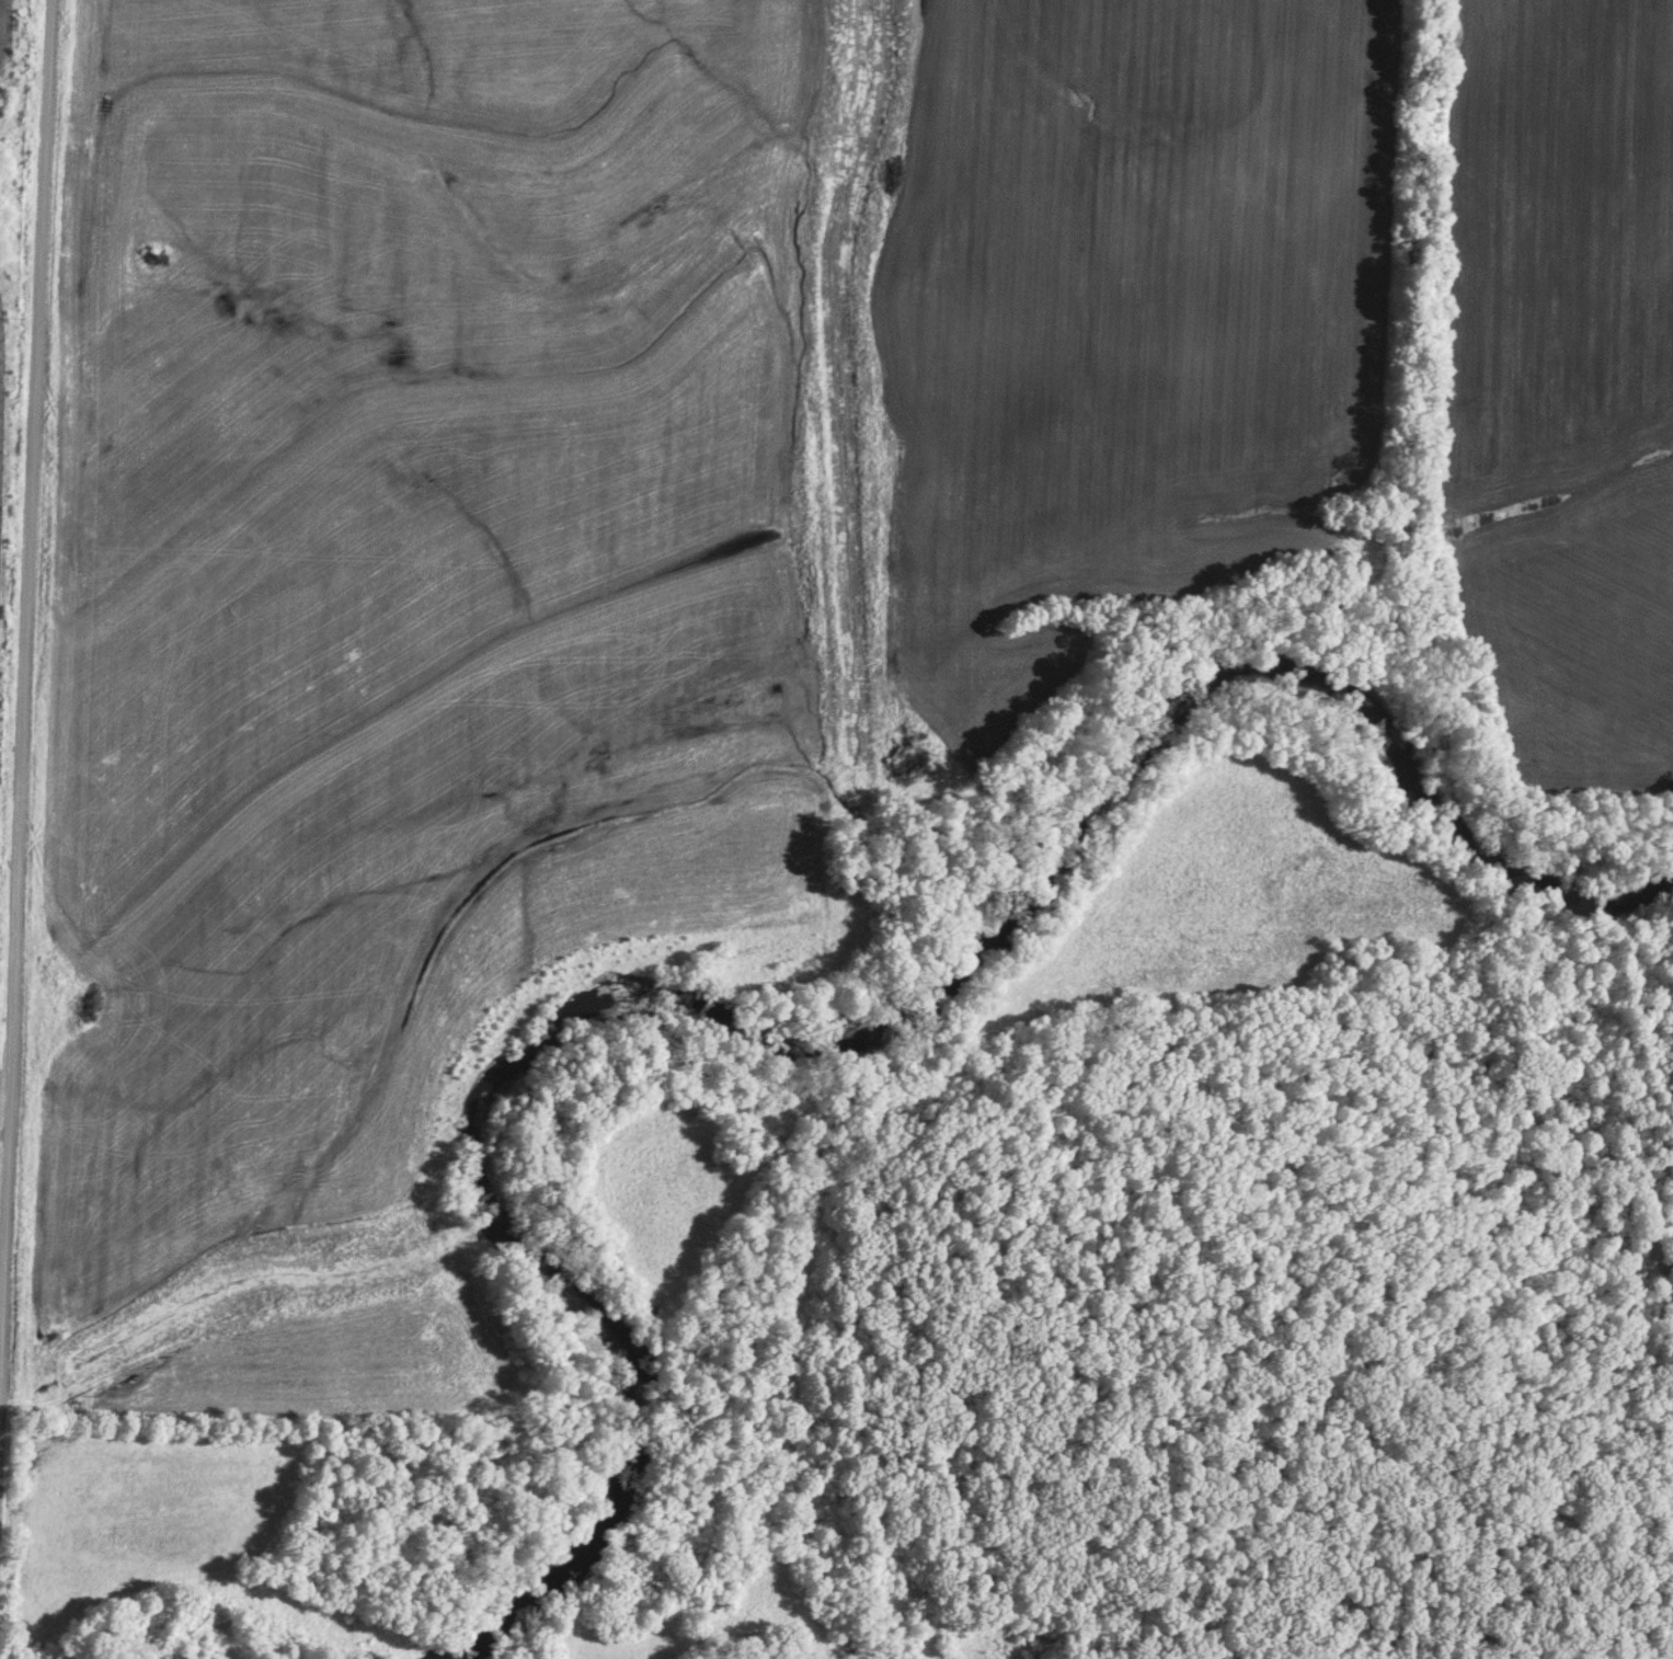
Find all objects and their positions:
road: (25, 741)

